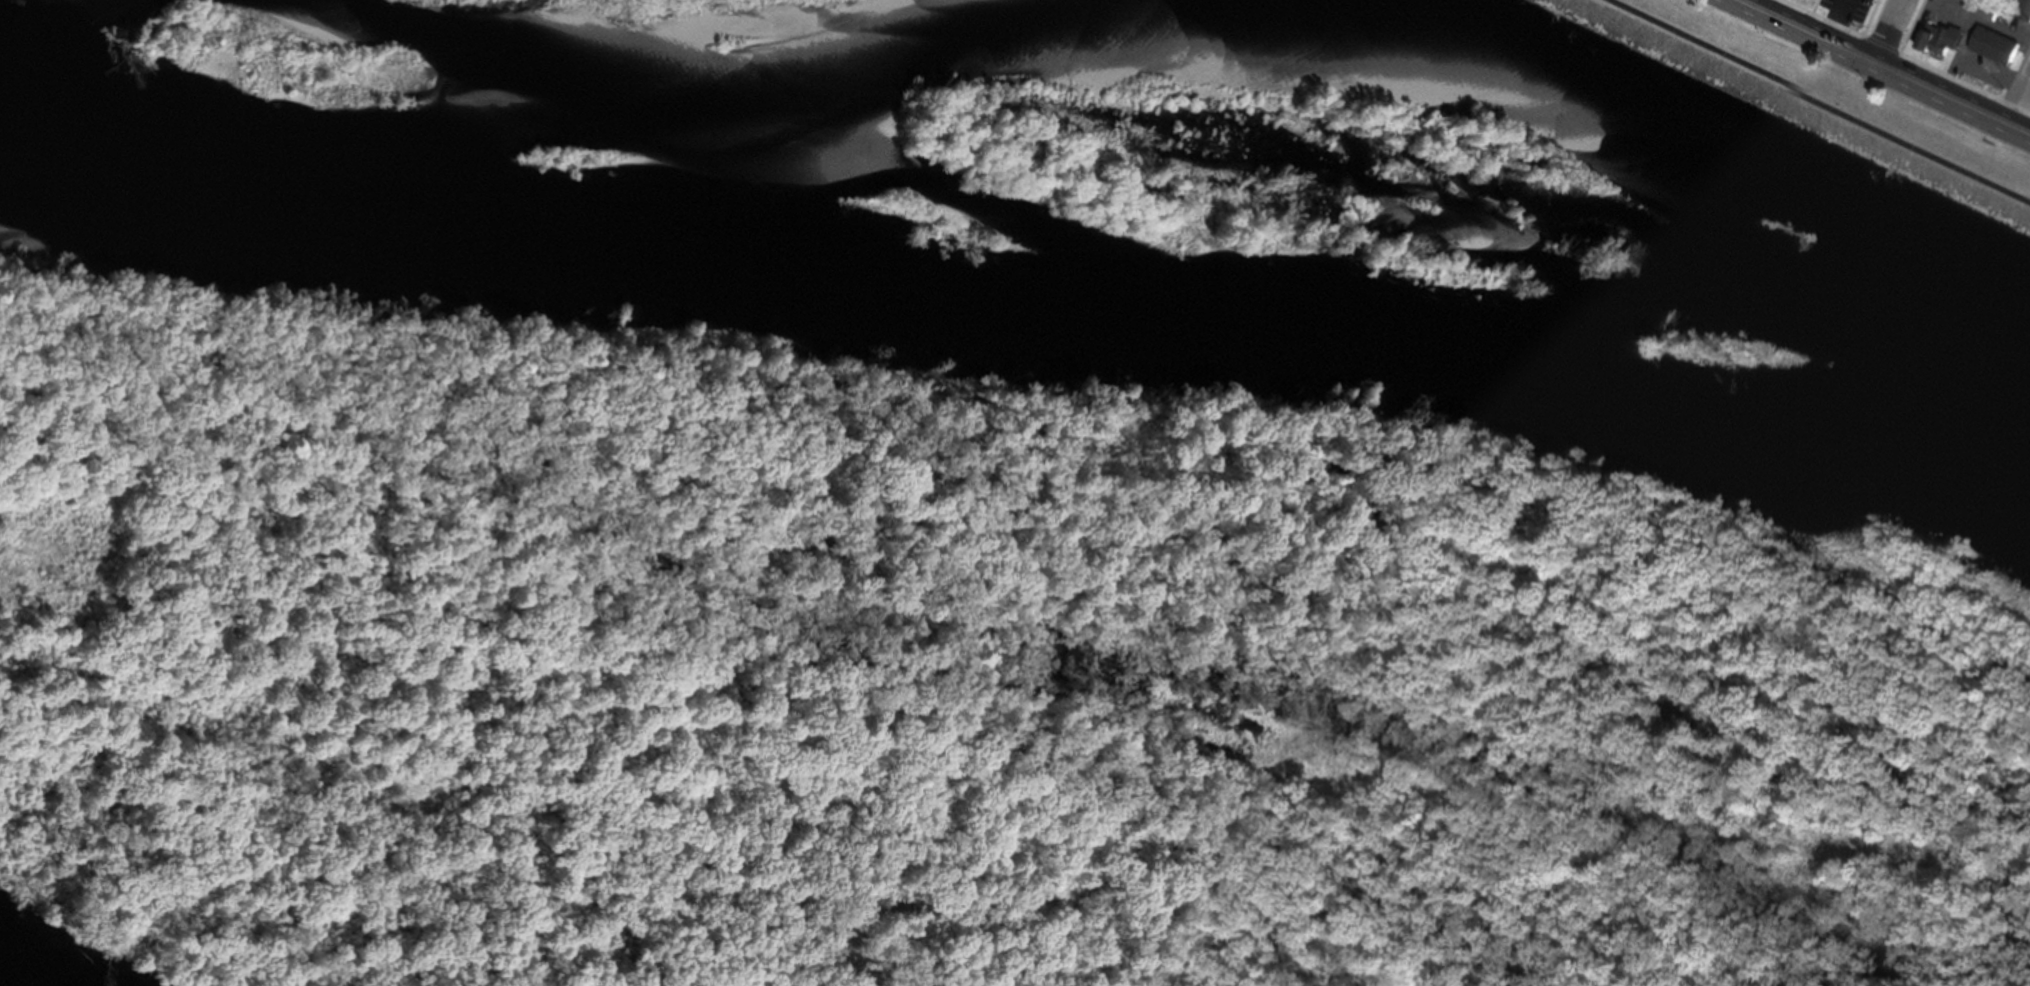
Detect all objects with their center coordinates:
building: (1803, 0)
road: (1747, 5)
building: (2022, 14)
road: (1887, 34)
building: (1936, 47)
building: (1989, 53)
road: (1875, 71)
road: (2014, 93)
road: (1808, 103)
park: (1815, 103)

